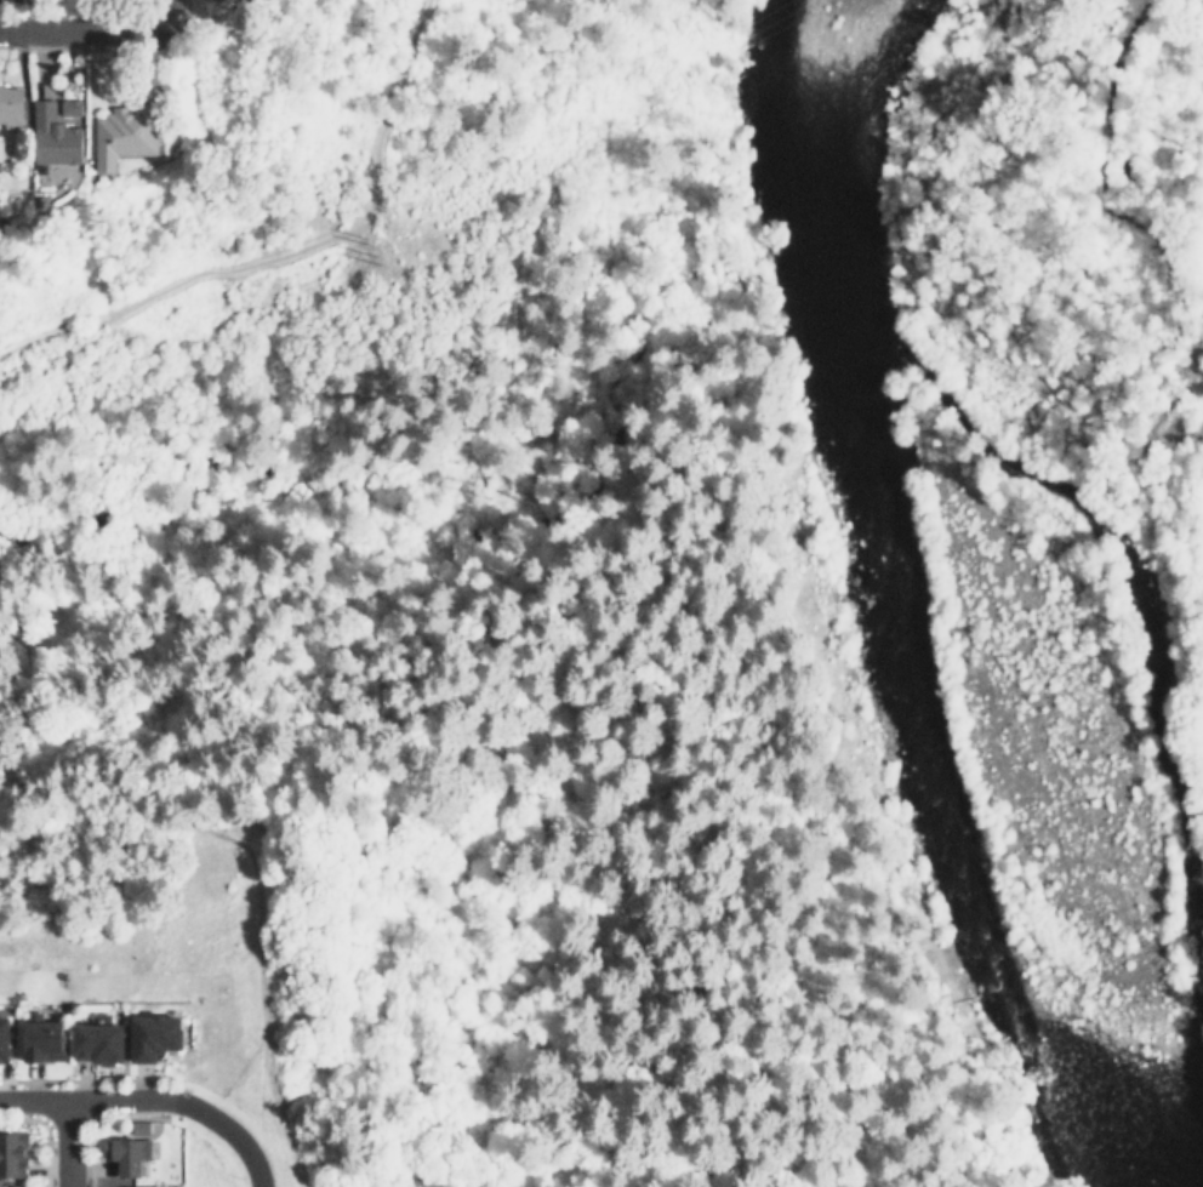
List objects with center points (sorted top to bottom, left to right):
road: (163, 11)
road: (79, 29)
building: (11, 107)
building: (58, 131)
building: (126, 133)
building: (372, 143)
building: (5, 153)
building: (1, 222)
road: (292, 247)
river: (867, 623)
park: (93, 627)
road: (249, 861)
building: (2, 1037)
building: (152, 1037)
building: (41, 1040)
building: (95, 1043)
road: (139, 1079)
road: (78, 1100)
road: (147, 1118)
building: (141, 1126)
road: (219, 1126)
road: (41, 1135)
road: (64, 1143)
road: (67, 1143)
building: (129, 1153)
building: (10, 1154)
road: (272, 1160)

